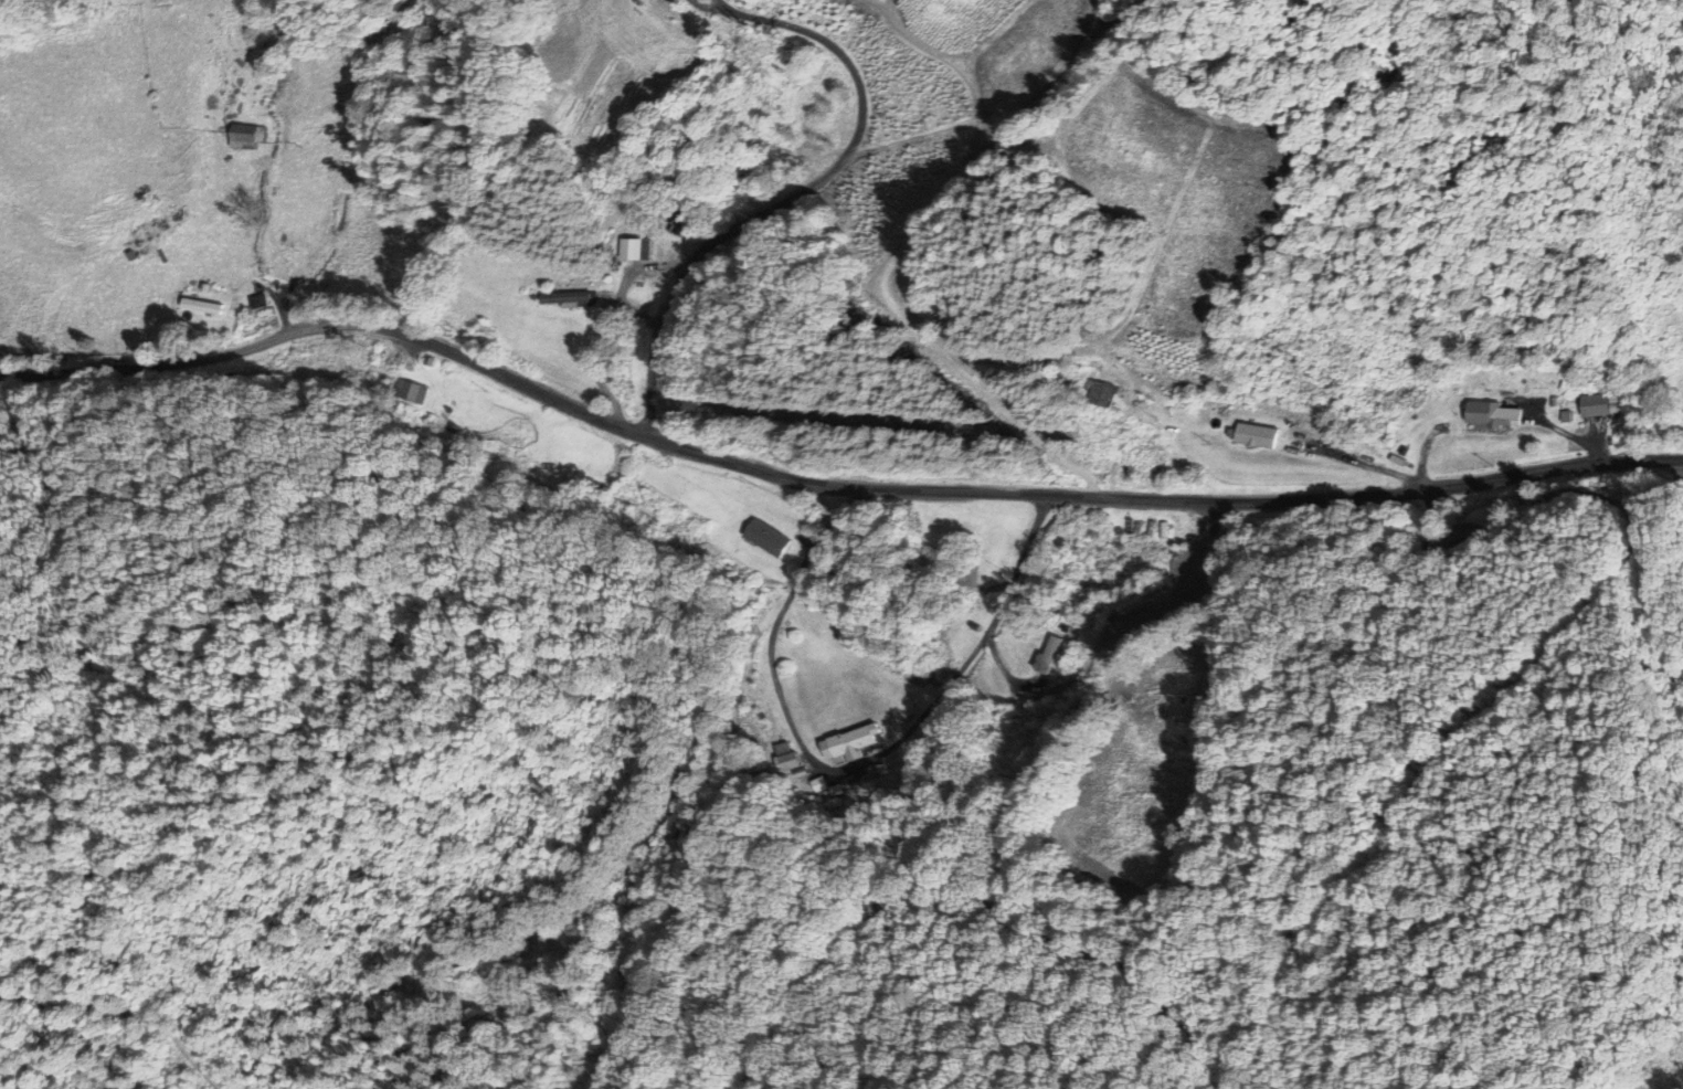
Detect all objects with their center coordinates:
road: (797, 197)
road: (825, 488)
road: (1492, 710)
road: (843, 770)
road: (184, 1051)

